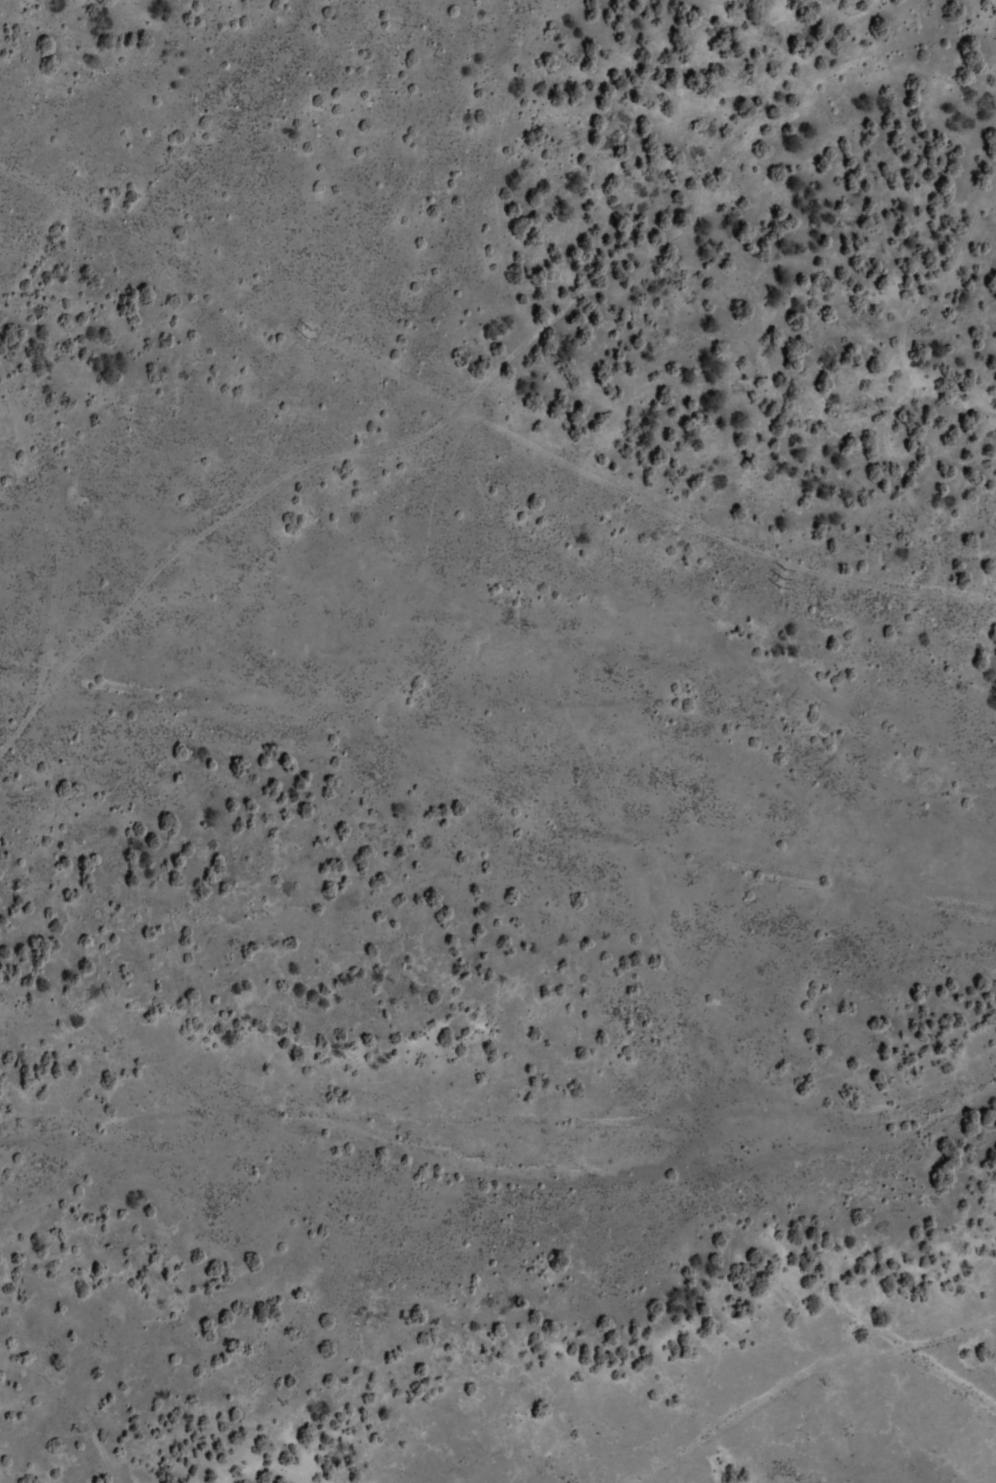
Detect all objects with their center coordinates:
power tower: (301, 331)
power tower: (783, 578)

